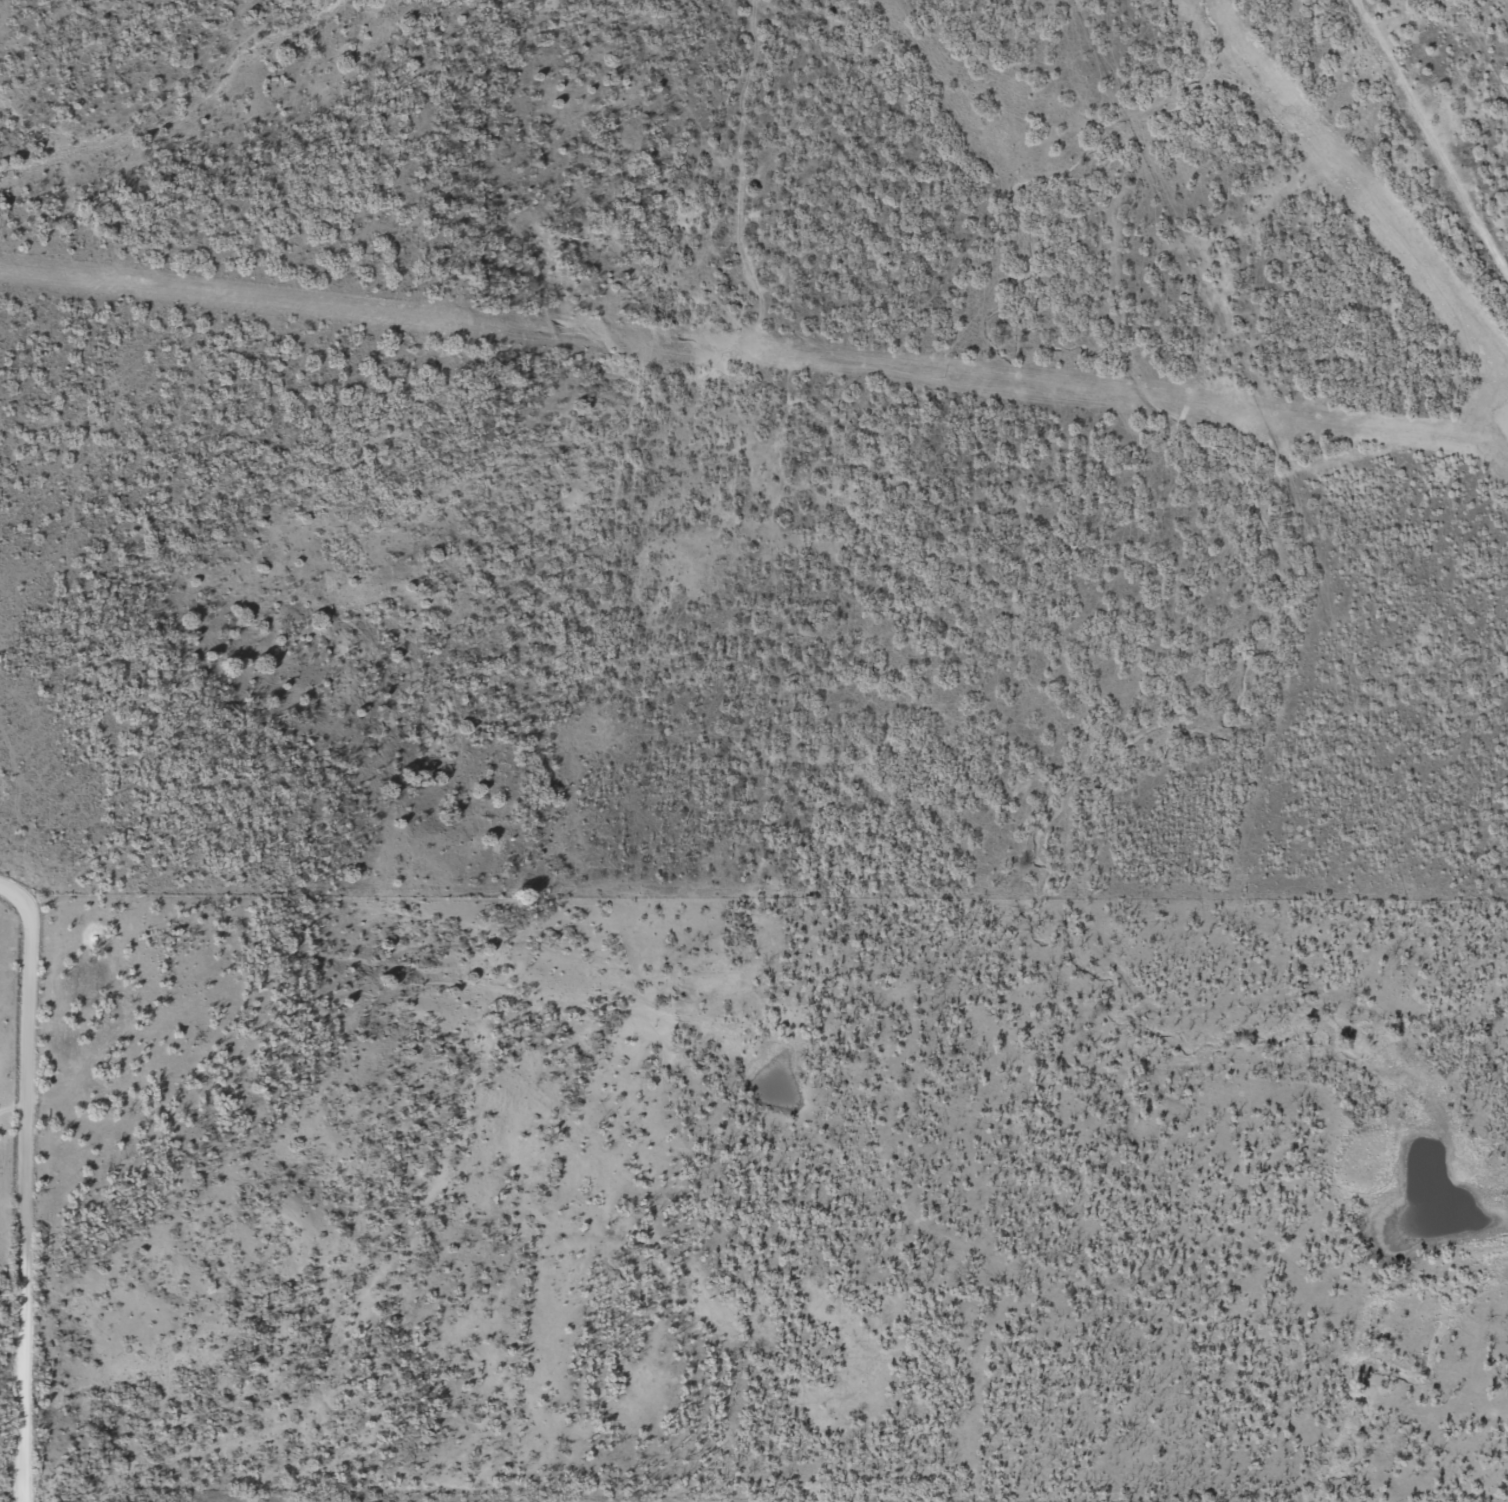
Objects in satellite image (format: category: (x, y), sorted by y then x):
road: (1423, 159)
road: (2, 1212)
road: (843, 1214)
road: (901, 1218)
road: (1, 1252)
road: (1062, 1283)
road: (999, 1364)

